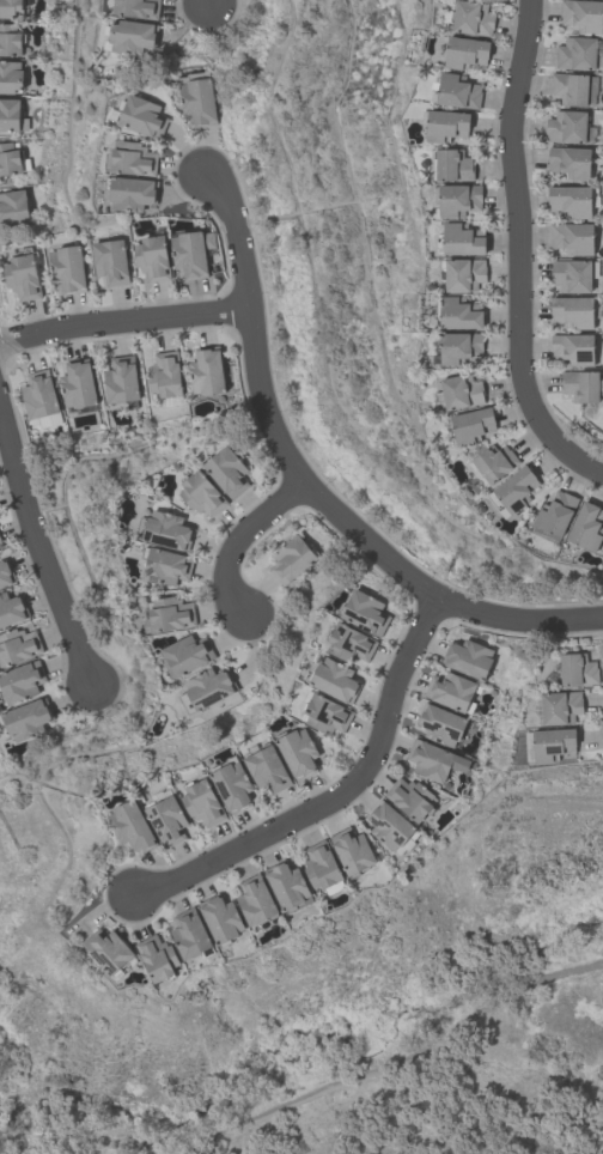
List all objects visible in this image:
road: (209, 1)
building: (11, 7)
building: (138, 8)
building: (583, 16)
building: (474, 19)
building: (133, 36)
building: (10, 41)
building: (467, 54)
building: (577, 54)
building: (11, 77)
building: (569, 89)
building: (458, 92)
building: (200, 102)
building: (11, 115)
building: (144, 117)
building: (447, 127)
building: (567, 127)
building: (10, 159)
building: (134, 160)
building: (571, 162)
building: (455, 166)
building: (133, 194)
building: (459, 201)
building: (572, 201)
building: (14, 207)
building: (573, 238)
building: (464, 241)
building: (193, 254)
road: (516, 255)
building: (153, 259)
building: (111, 262)
building: (68, 269)
building: (464, 275)
building: (572, 275)
building: (23, 277)
building: (573, 312)
building: (461, 314)
road: (123, 324)
building: (461, 348)
building: (574, 348)
building: (206, 371)
building: (165, 373)
building: (121, 379)
building: (78, 383)
building: (580, 385)
building: (462, 393)
building: (38, 394)
building: (474, 426)
building: (497, 463)
building: (227, 472)
building: (518, 490)
building: (202, 493)
road: (310, 493)
building: (556, 511)
building: (586, 526)
building: (165, 530)
building: (1, 541)
road: (237, 543)
road: (38, 552)
building: (291, 559)
building: (166, 565)
building: (6, 572)
building: (12, 608)
building: (366, 612)
building: (169, 614)
building: (351, 642)
building: (18, 645)
building: (187, 654)
building: (468, 658)
building: (577, 669)
building: (335, 679)
building: (22, 680)
building: (208, 687)
building: (450, 690)
building: (560, 706)
building: (327, 713)
building: (26, 718)
building: (440, 723)
building: (553, 742)
building: (298, 751)
building: (433, 760)
building: (267, 769)
building: (232, 784)
road: (342, 795)
building: (410, 797)
building: (203, 802)
building: (166, 820)
building: (389, 824)
building: (132, 825)
building: (353, 849)
building: (322, 864)
building: (287, 883)
building: (256, 899)
building: (221, 918)
building: (190, 934)
building: (108, 948)
building: (158, 956)
park: (342, 1026)
road: (398, 1064)

